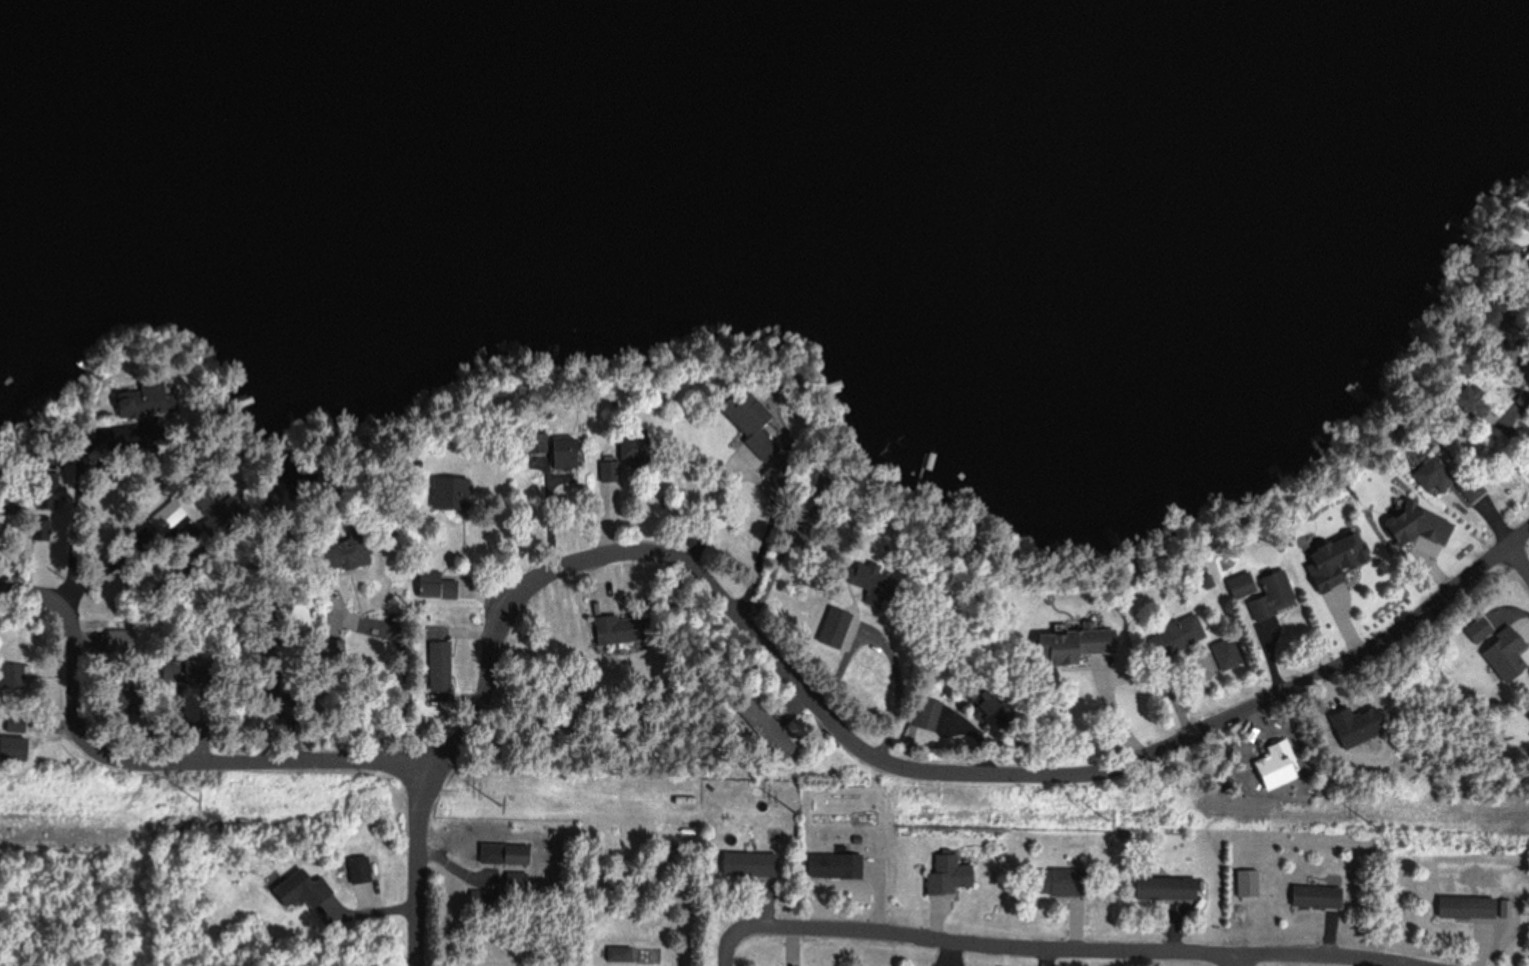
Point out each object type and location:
building: (1527, 260)
building: (528, 444)
building: (559, 464)
building: (1426, 473)
building: (1393, 492)
building: (1381, 516)
building: (162, 519)
building: (332, 557)
building: (1321, 558)
road: (1518, 562)
road: (711, 581)
building: (865, 582)
building: (1269, 596)
building: (114, 624)
road: (430, 624)
building: (1178, 631)
building: (1064, 646)
building: (1223, 658)
building: (435, 665)
road: (1117, 709)
building: (921, 713)
building: (761, 730)
building: (9, 750)
road: (419, 859)
building: (501, 859)
building: (743, 864)
building: (828, 866)
building: (356, 870)
building: (945, 876)
building: (1053, 883)
building: (1247, 884)
building: (1162, 889)
building: (297, 890)
building: (1314, 896)
building: (1464, 907)
road: (729, 949)
road: (1070, 949)
road: (1228, 960)

